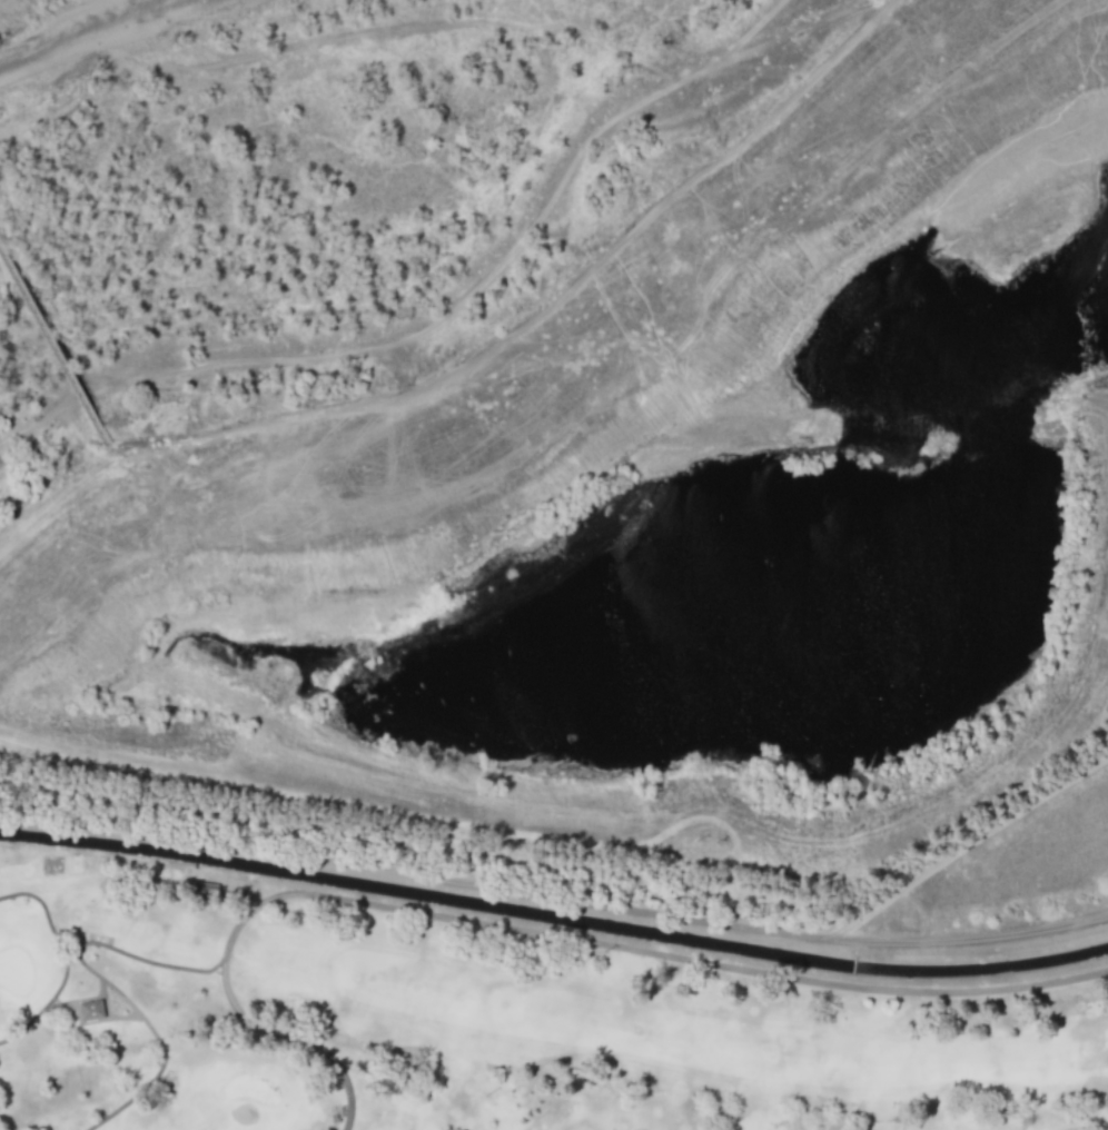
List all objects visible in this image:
road: (540, 940)
building: (87, 1010)
park: (472, 1030)

